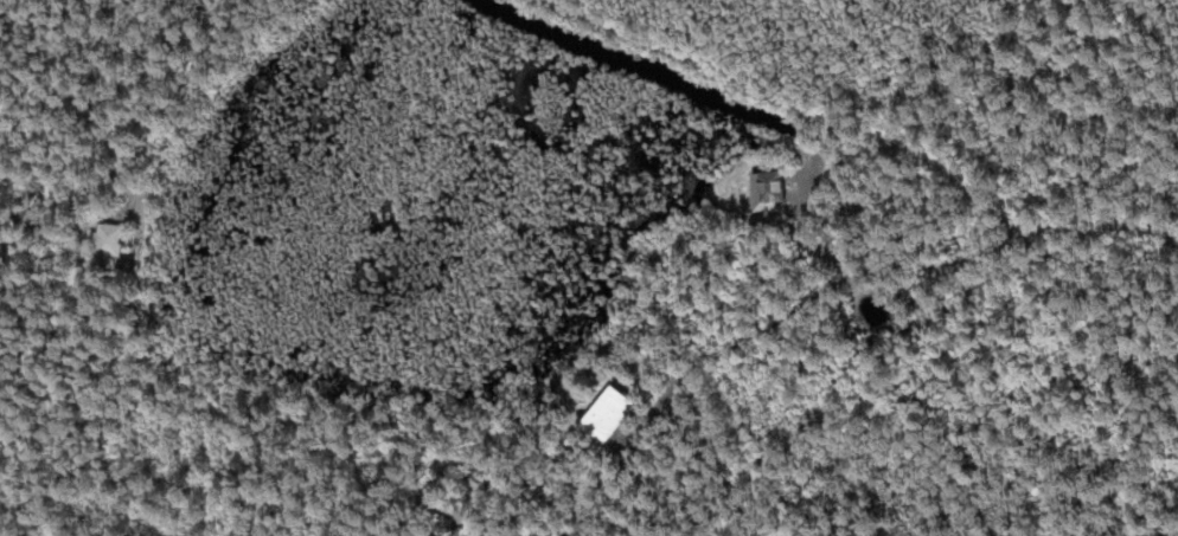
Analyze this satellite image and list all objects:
road: (137, 86)
road: (864, 133)
building: (763, 188)
building: (38, 201)
building: (119, 239)
road: (838, 337)
building: (600, 413)

